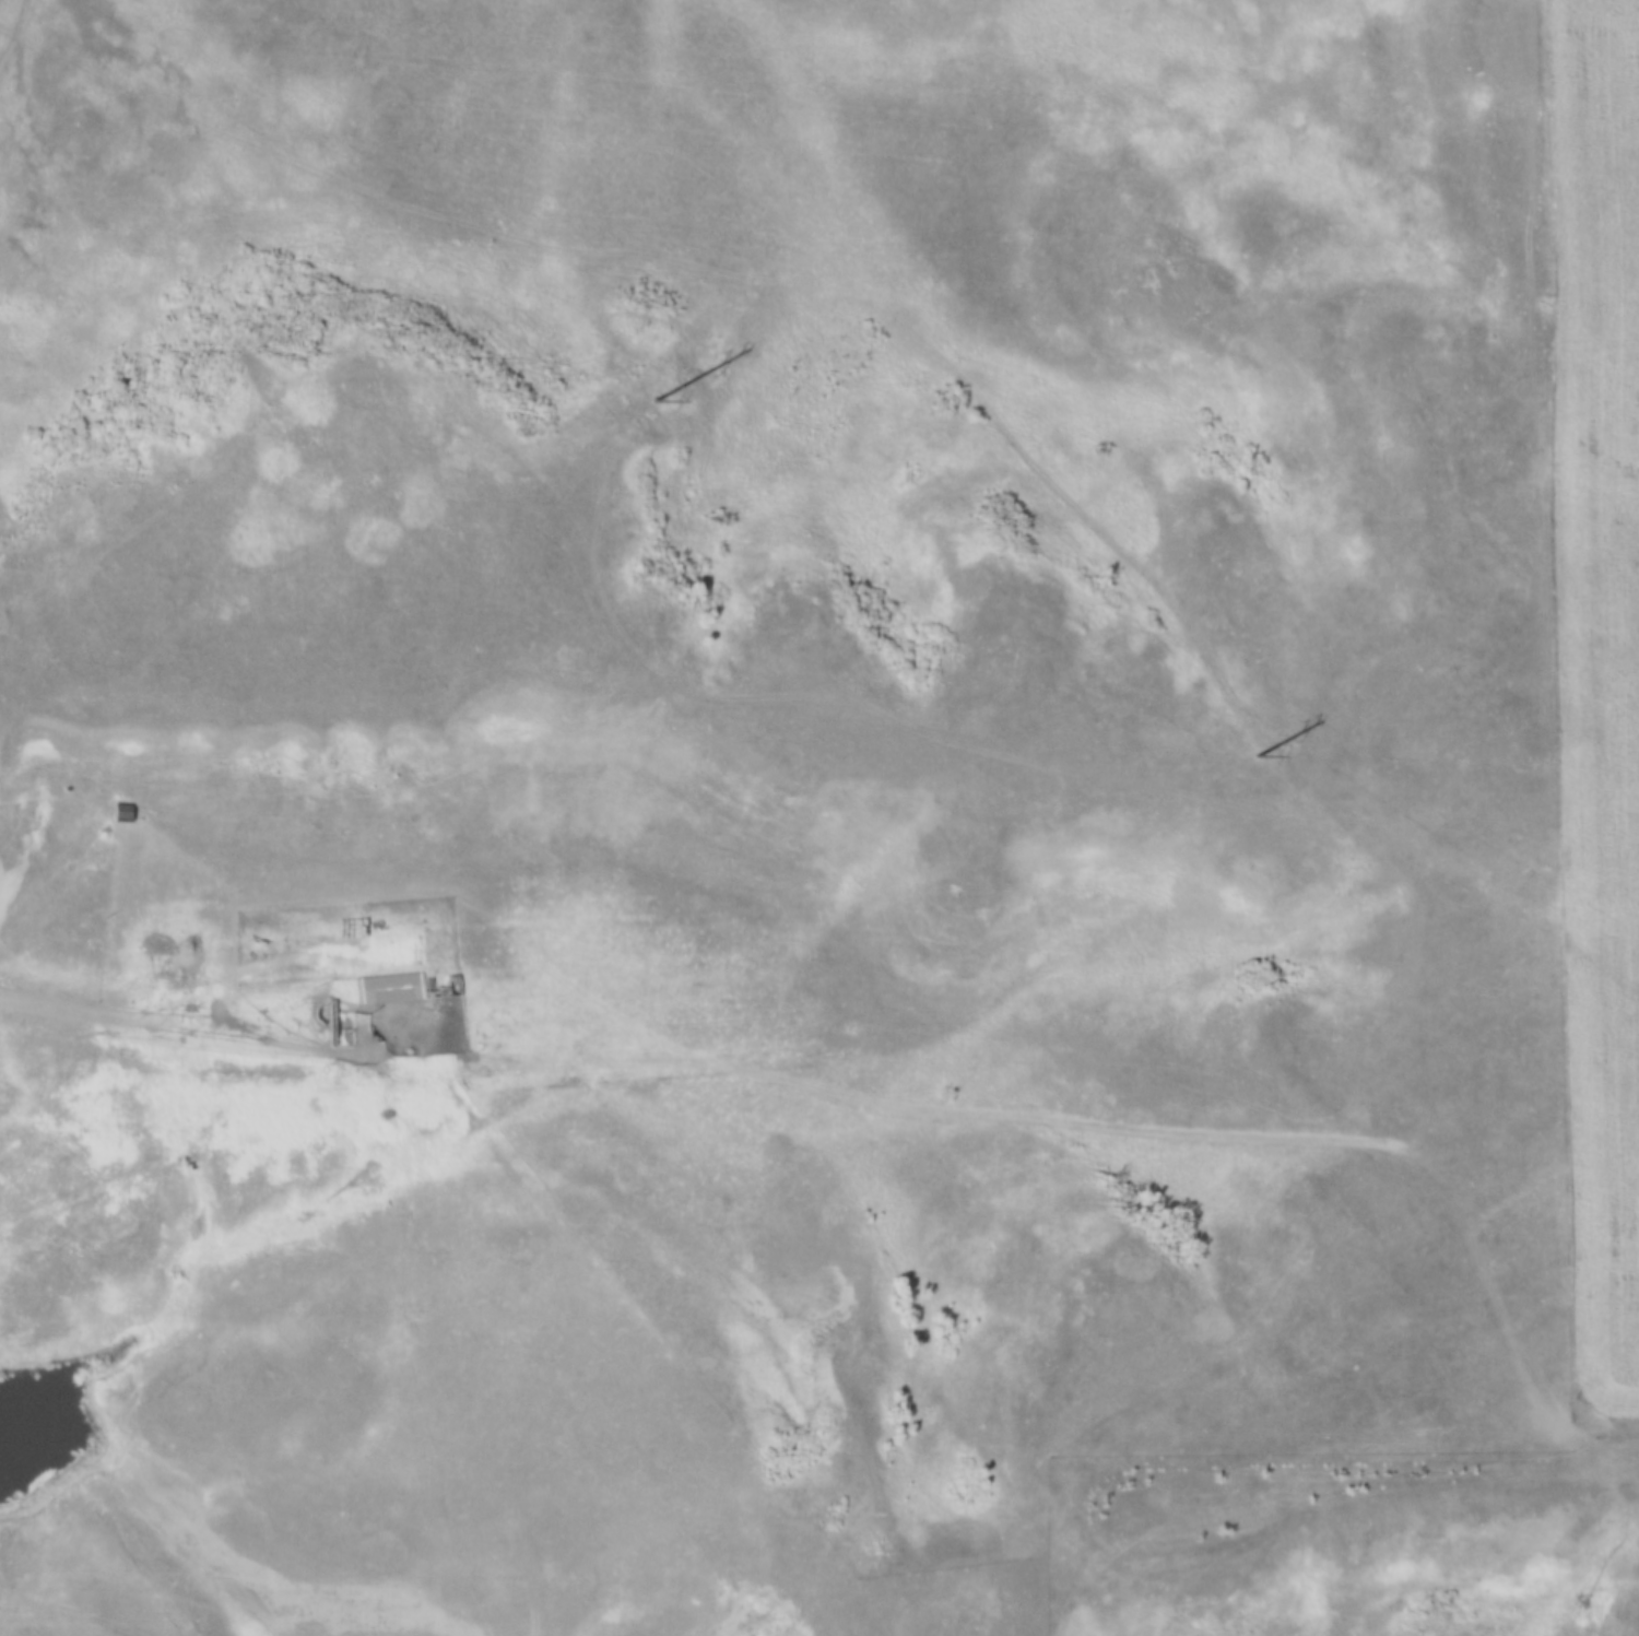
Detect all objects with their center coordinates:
power tower: (647, 397)
power tower: (1261, 745)
building: (113, 813)
building: (448, 984)
building: (384, 987)
road: (222, 1031)
road: (1045, 1118)
road: (541, 1335)

